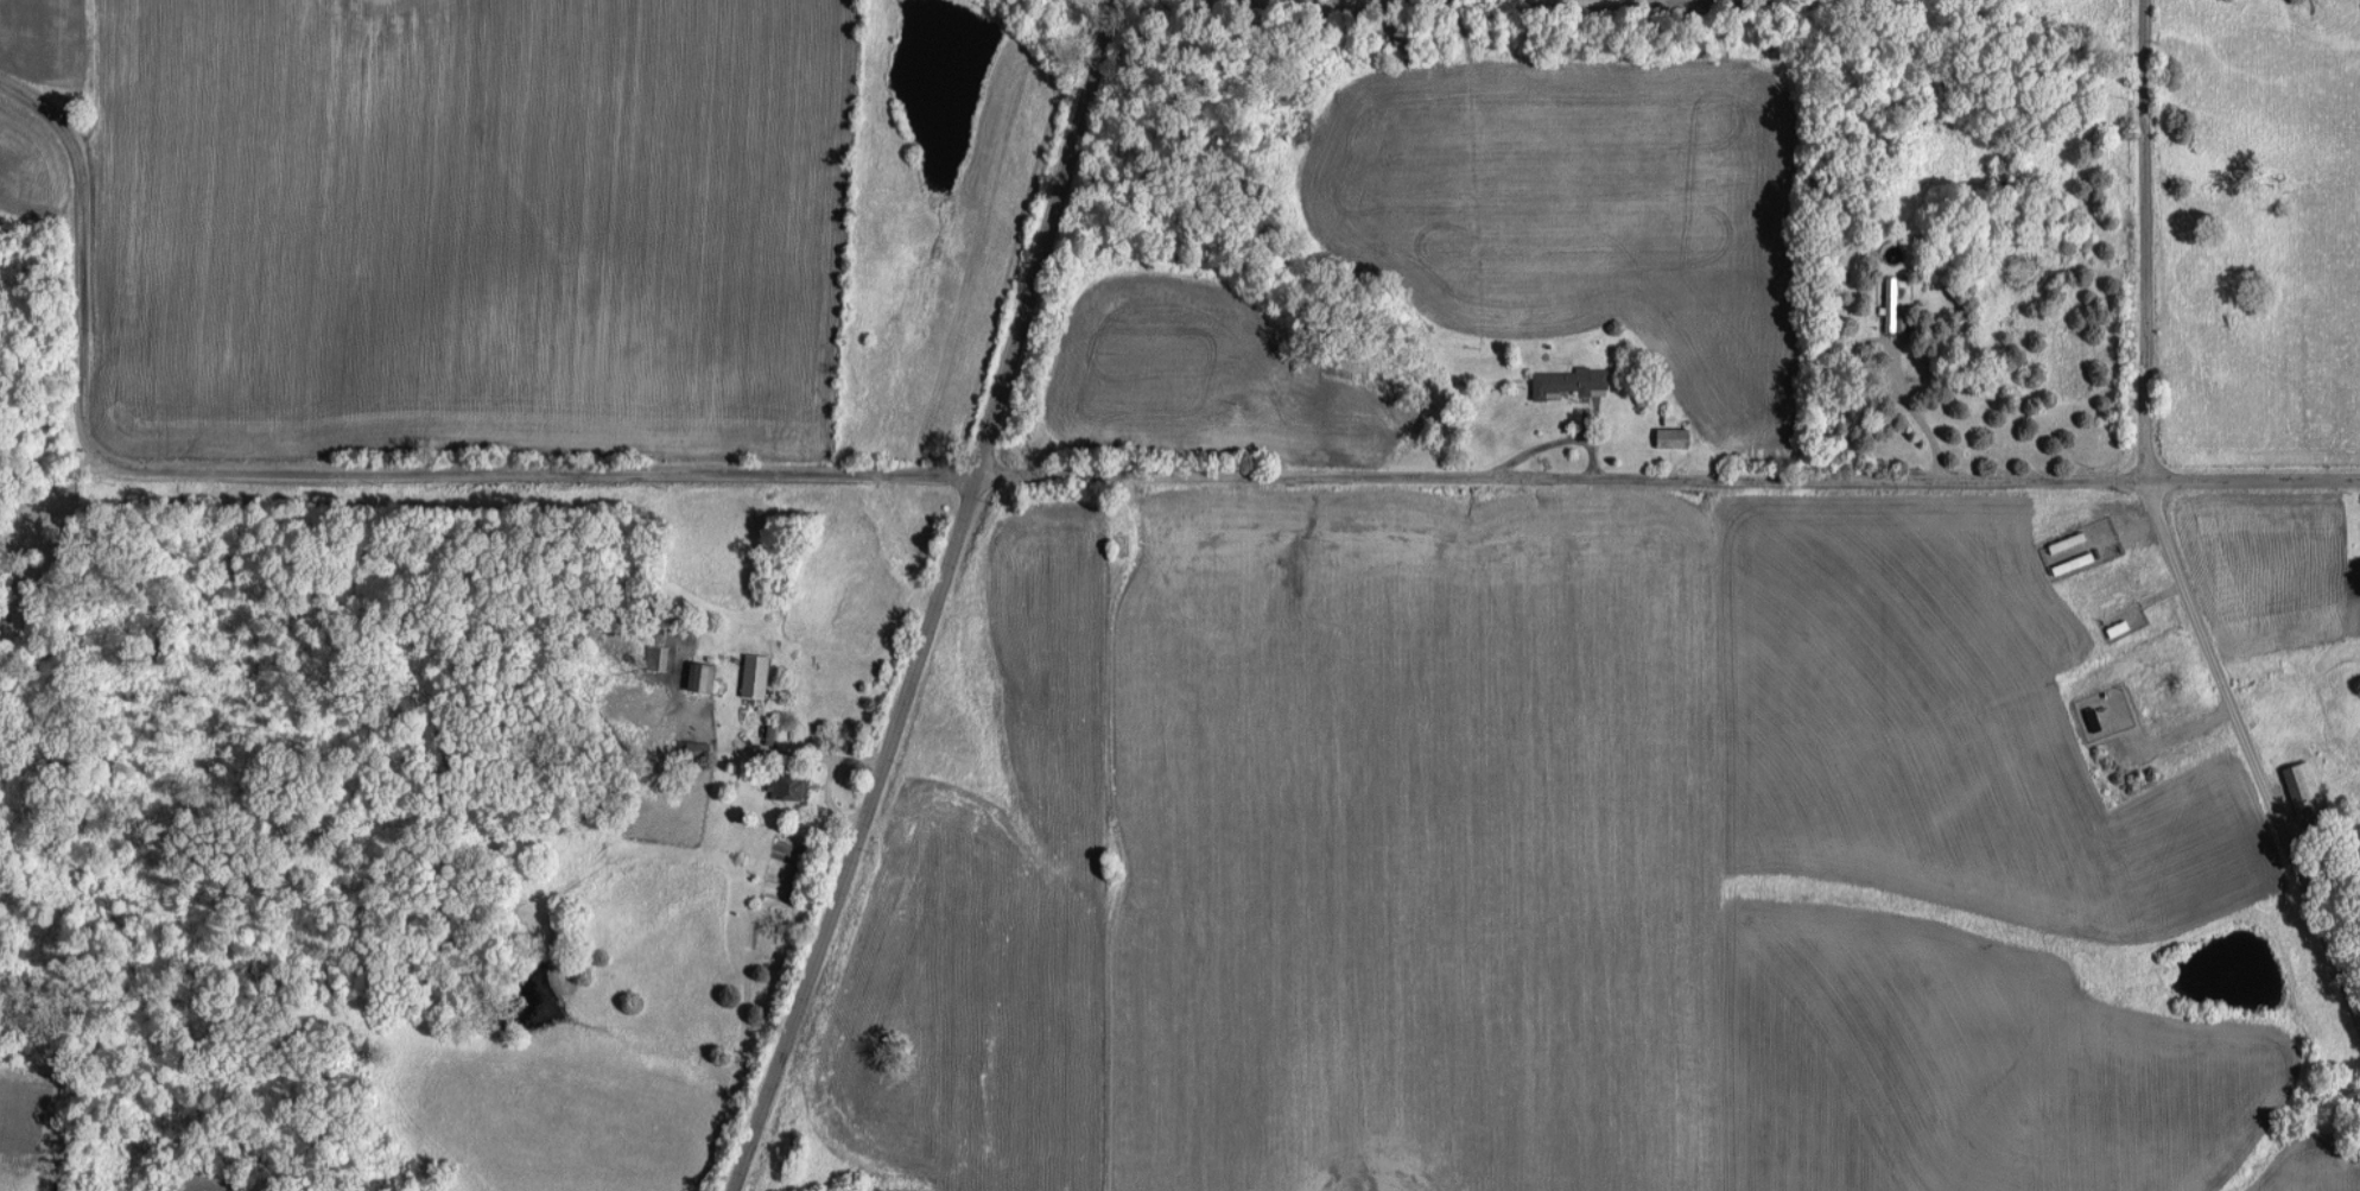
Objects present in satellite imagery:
building: (1892, 303)
building: (1573, 381)
road: (1920, 400)
building: (1675, 436)
road: (326, 465)
road: (1674, 468)
road: (43, 489)
road: (2162, 524)
road: (940, 600)
building: (659, 657)
building: (756, 674)
building: (703, 676)
building: (789, 785)
building: (2305, 787)

